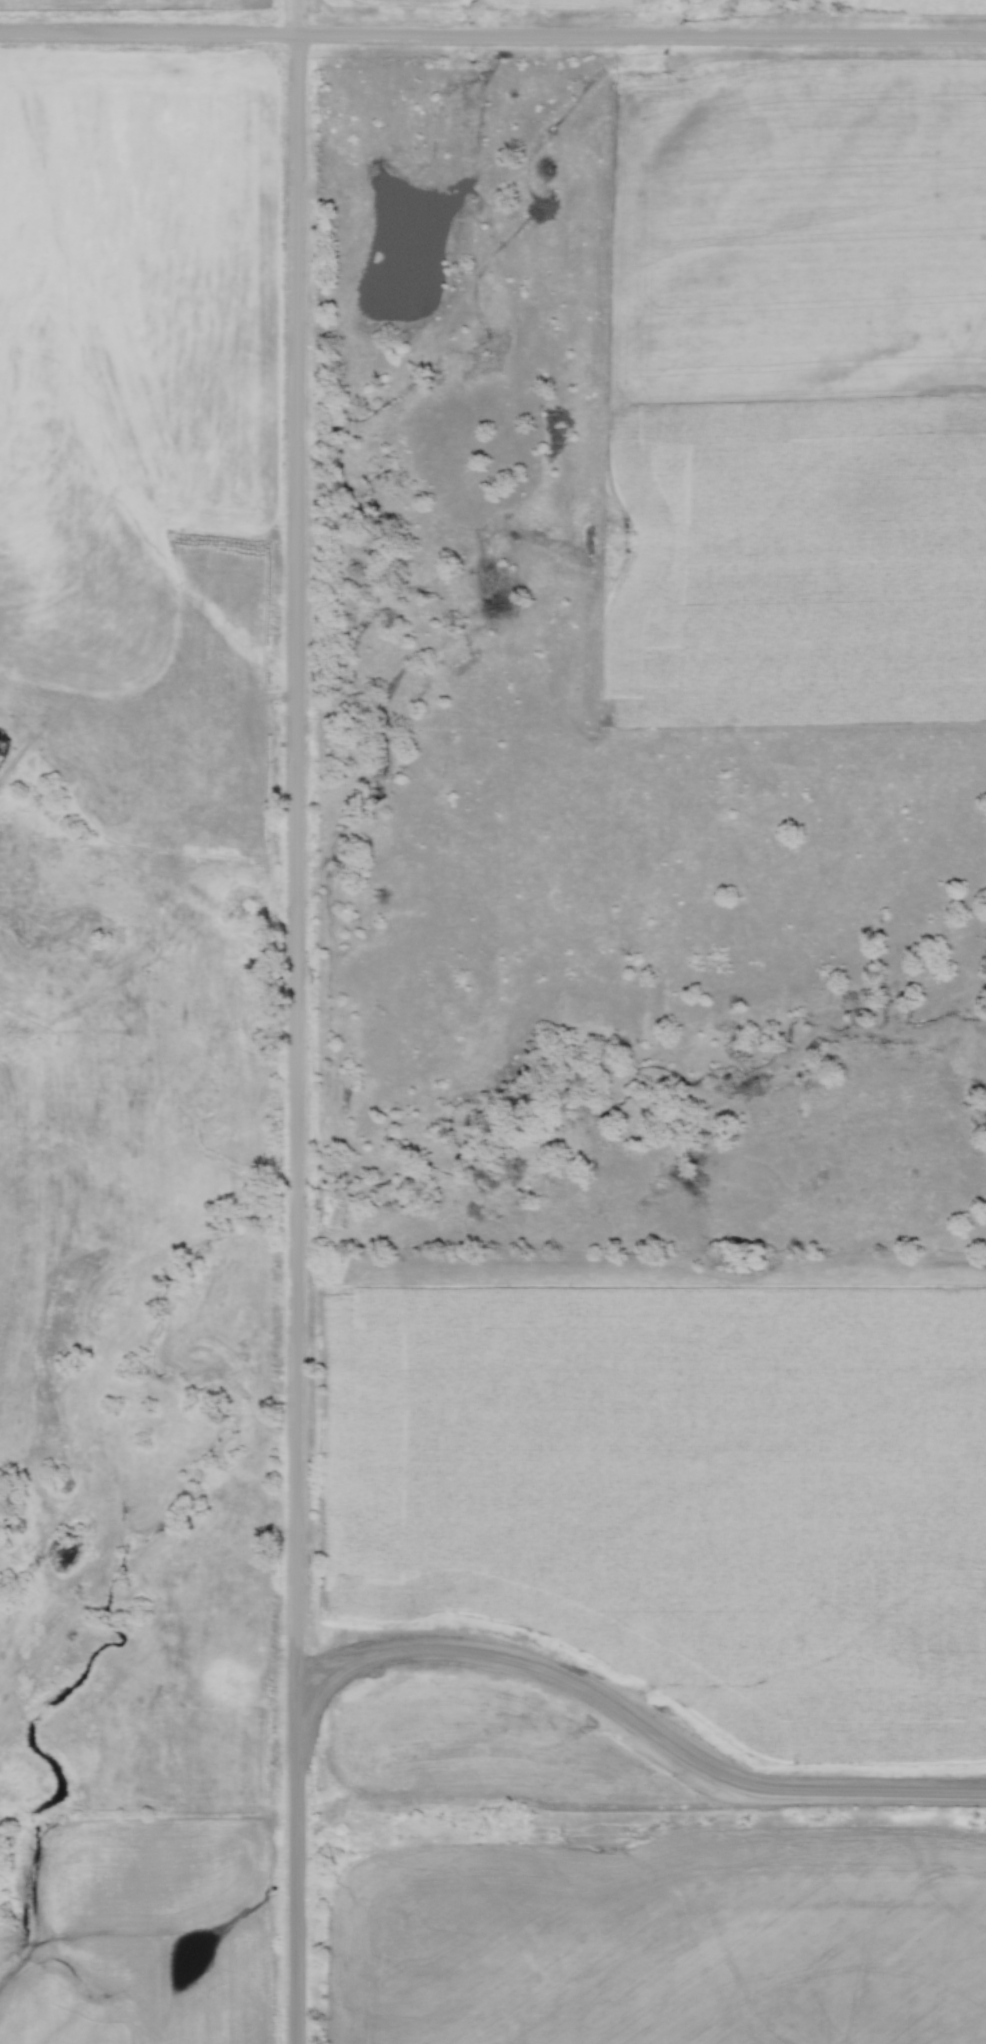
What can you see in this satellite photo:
road: (492, 37)
road: (297, 1021)

